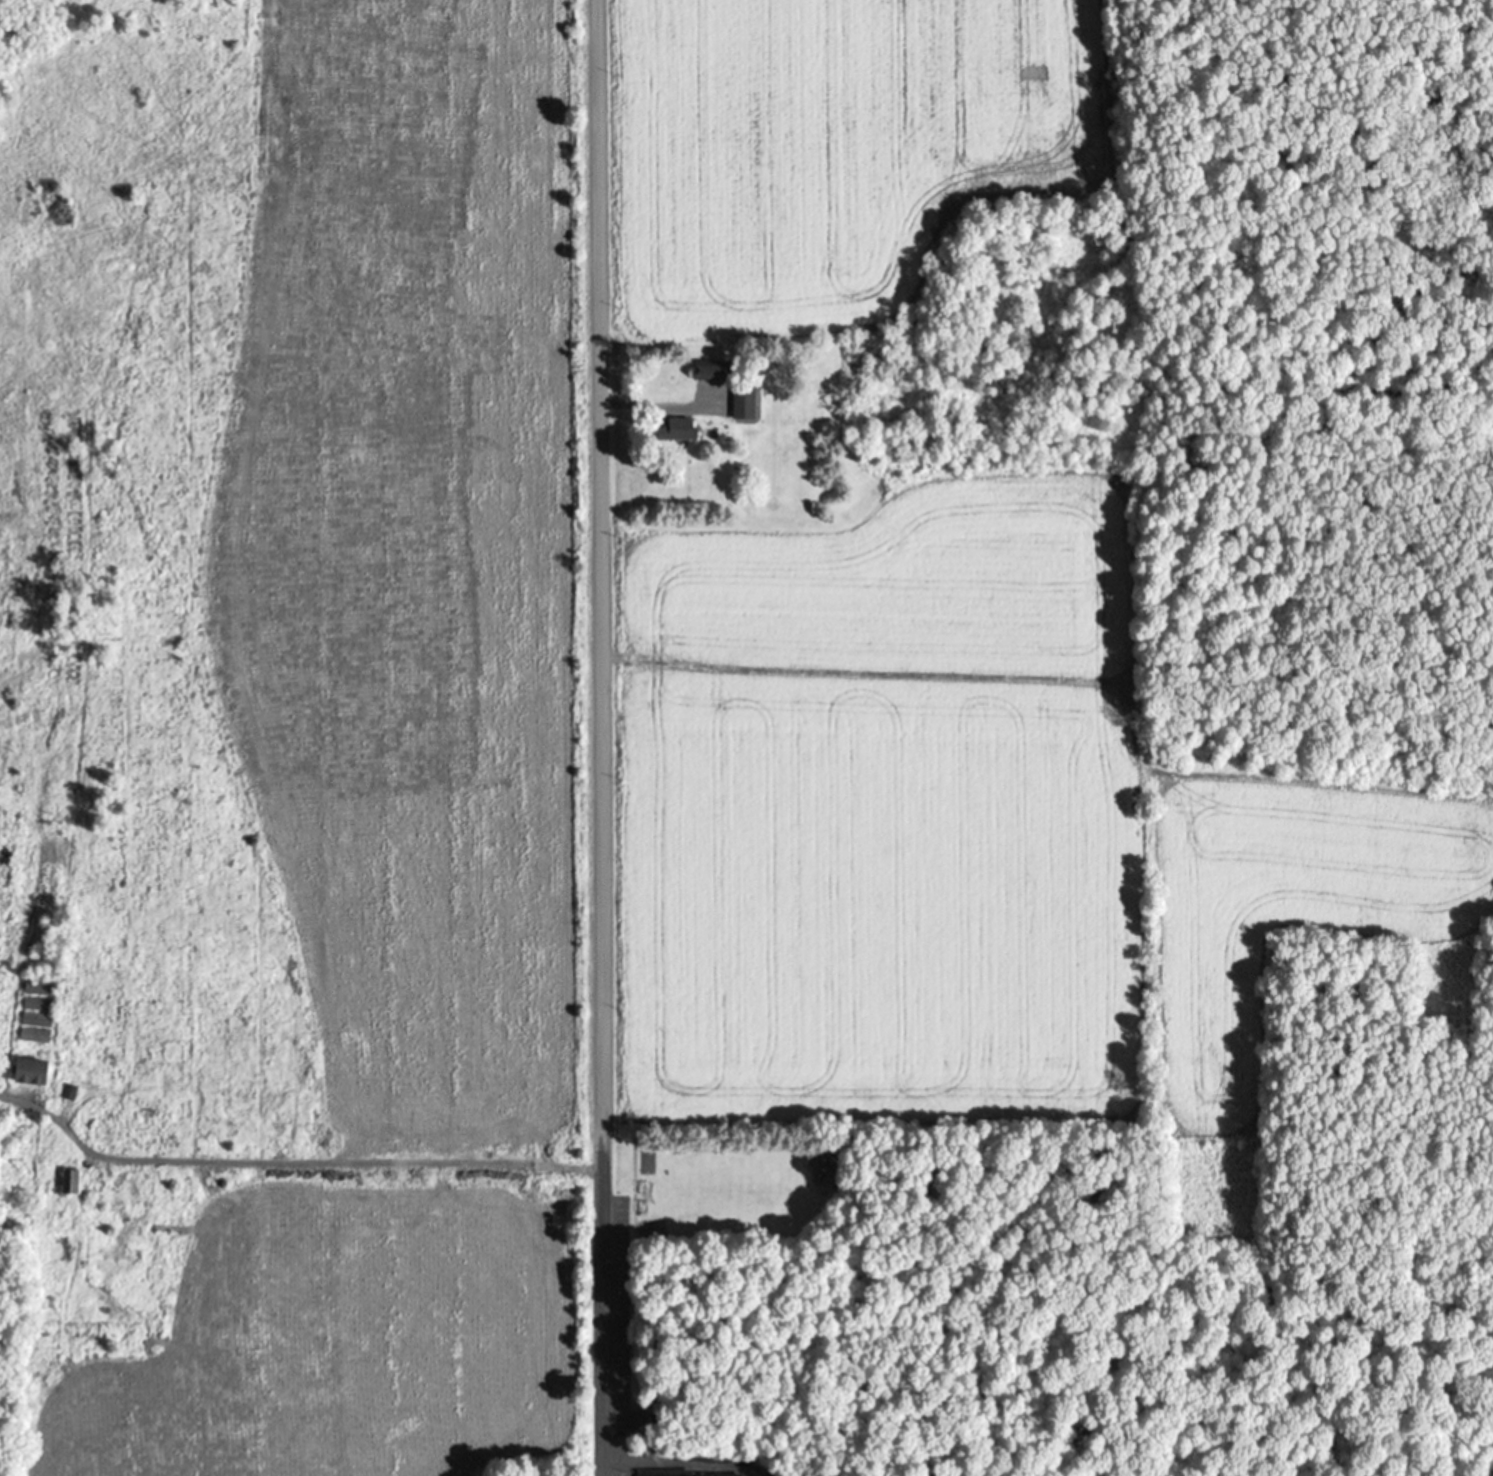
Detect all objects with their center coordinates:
building: (703, 371)
building: (739, 404)
building: (670, 432)
road: (603, 571)
building: (38, 1072)
building: (76, 1183)
road: (601, 1310)
park: (539, 1471)
building: (660, 1474)

